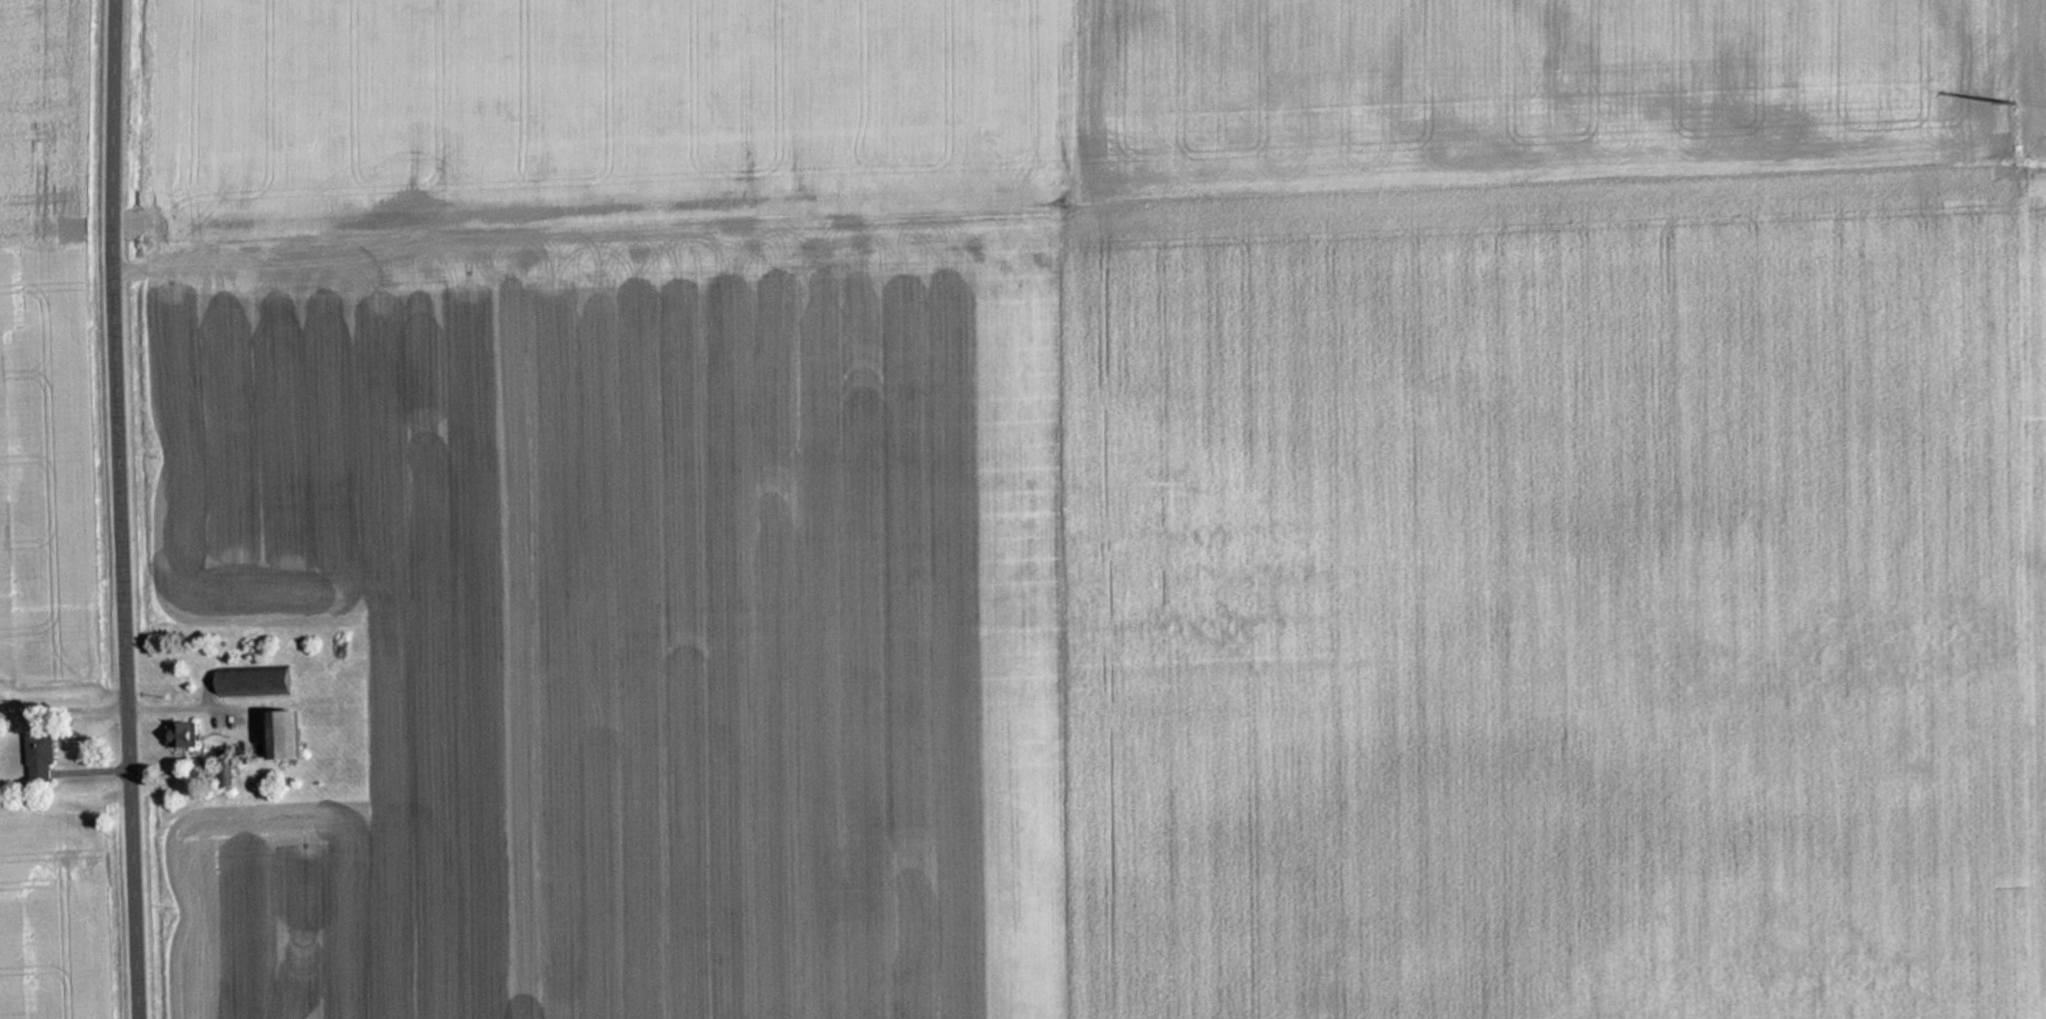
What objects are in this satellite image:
power tower: (2012, 103)
road: (154, 509)
building: (258, 683)
building: (186, 735)
building: (291, 736)
building: (44, 758)

